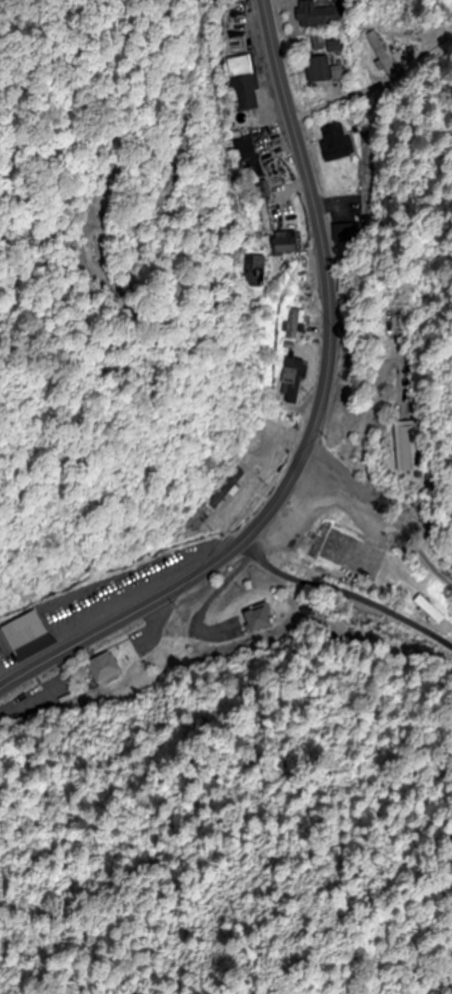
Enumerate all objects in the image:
building: (313, 15)
building: (379, 54)
building: (318, 70)
building: (243, 90)
building: (334, 143)
building: (283, 244)
building: (348, 283)
building: (393, 322)
building: (291, 381)
road: (315, 421)
building: (405, 447)
building: (254, 453)
building: (224, 489)
road: (384, 508)
building: (188, 524)
road: (346, 595)
building: (22, 638)
building: (105, 670)

